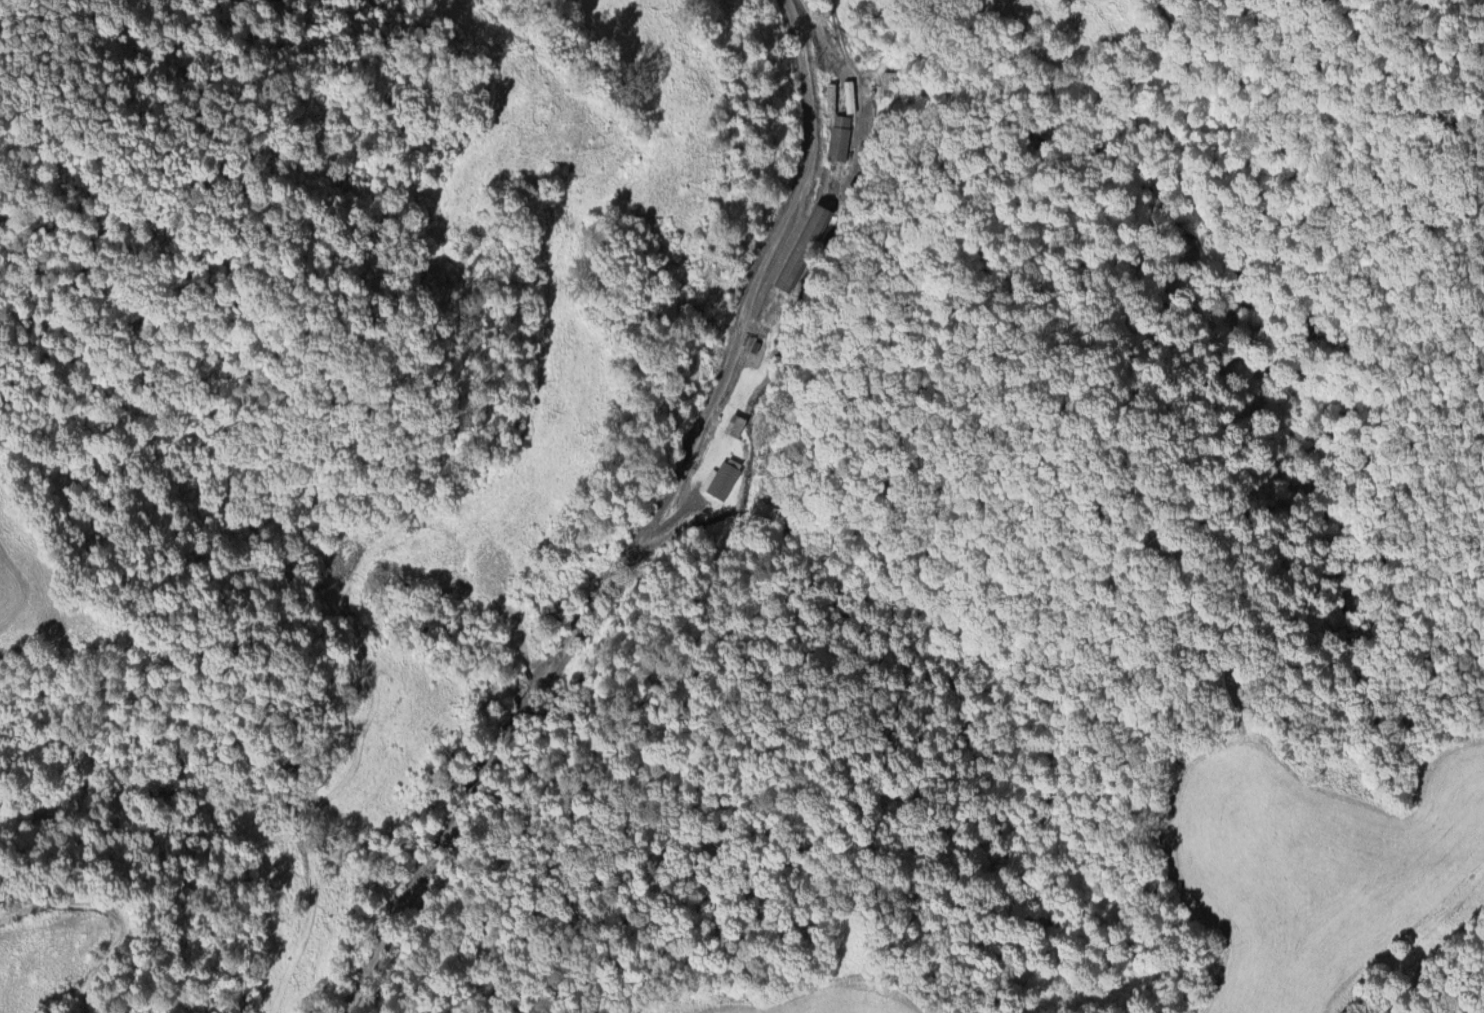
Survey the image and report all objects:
road: (839, 62)
building: (889, 79)
building: (838, 136)
building: (802, 245)
building: (733, 422)
building: (720, 477)
road: (644, 529)
road: (367, 691)
road: (117, 908)

